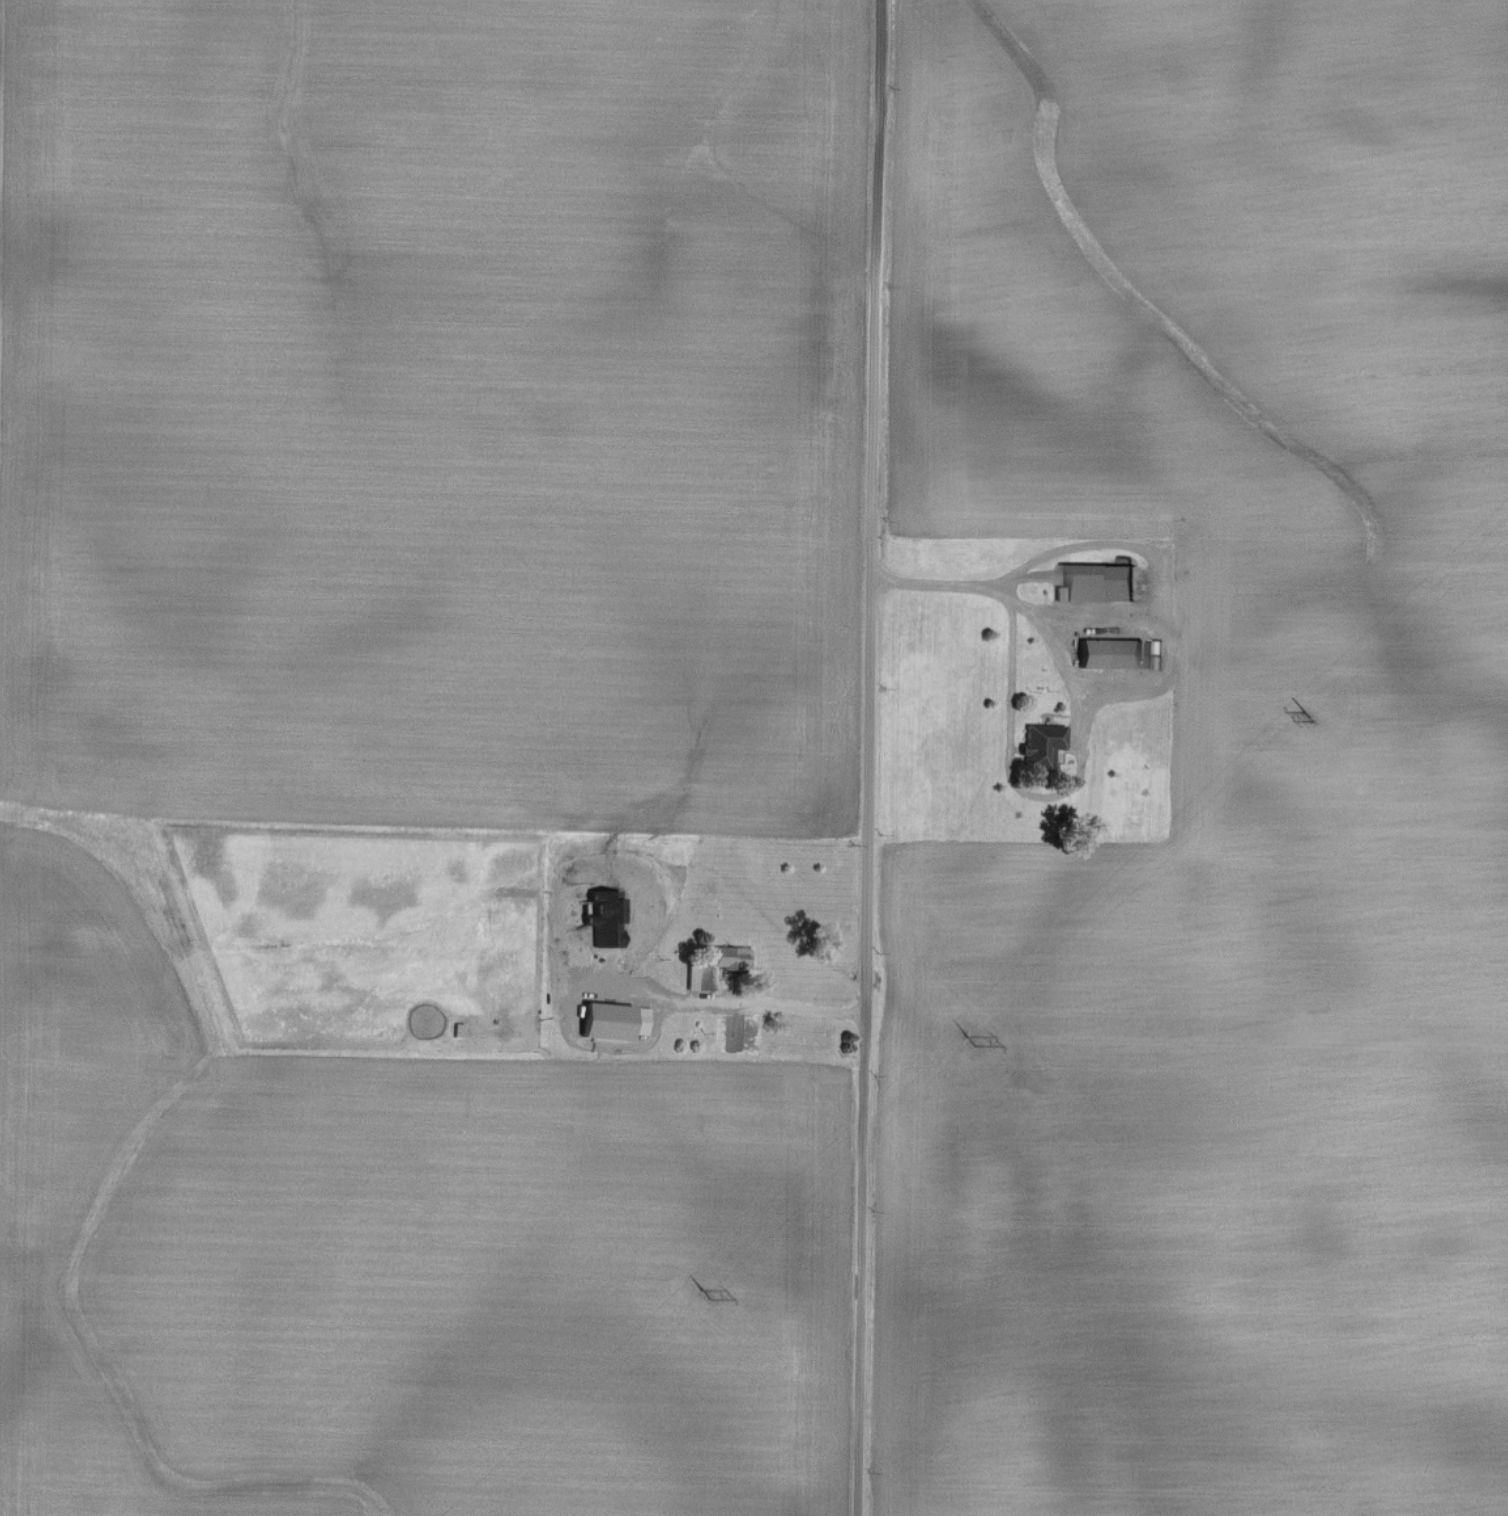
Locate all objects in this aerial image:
building: (1104, 584)
building: (1114, 654)
power tower: (1308, 719)
building: (1042, 745)
road: (868, 757)
building: (717, 966)
power tower: (972, 1038)
power tower: (702, 1299)

